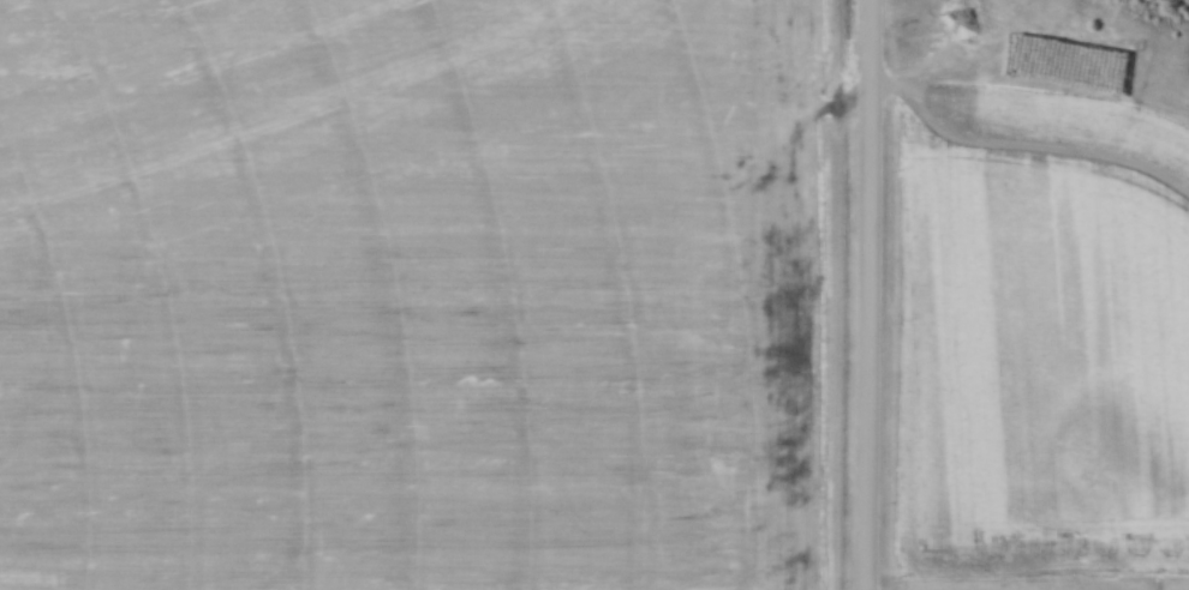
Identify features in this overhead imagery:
road: (868, 295)

